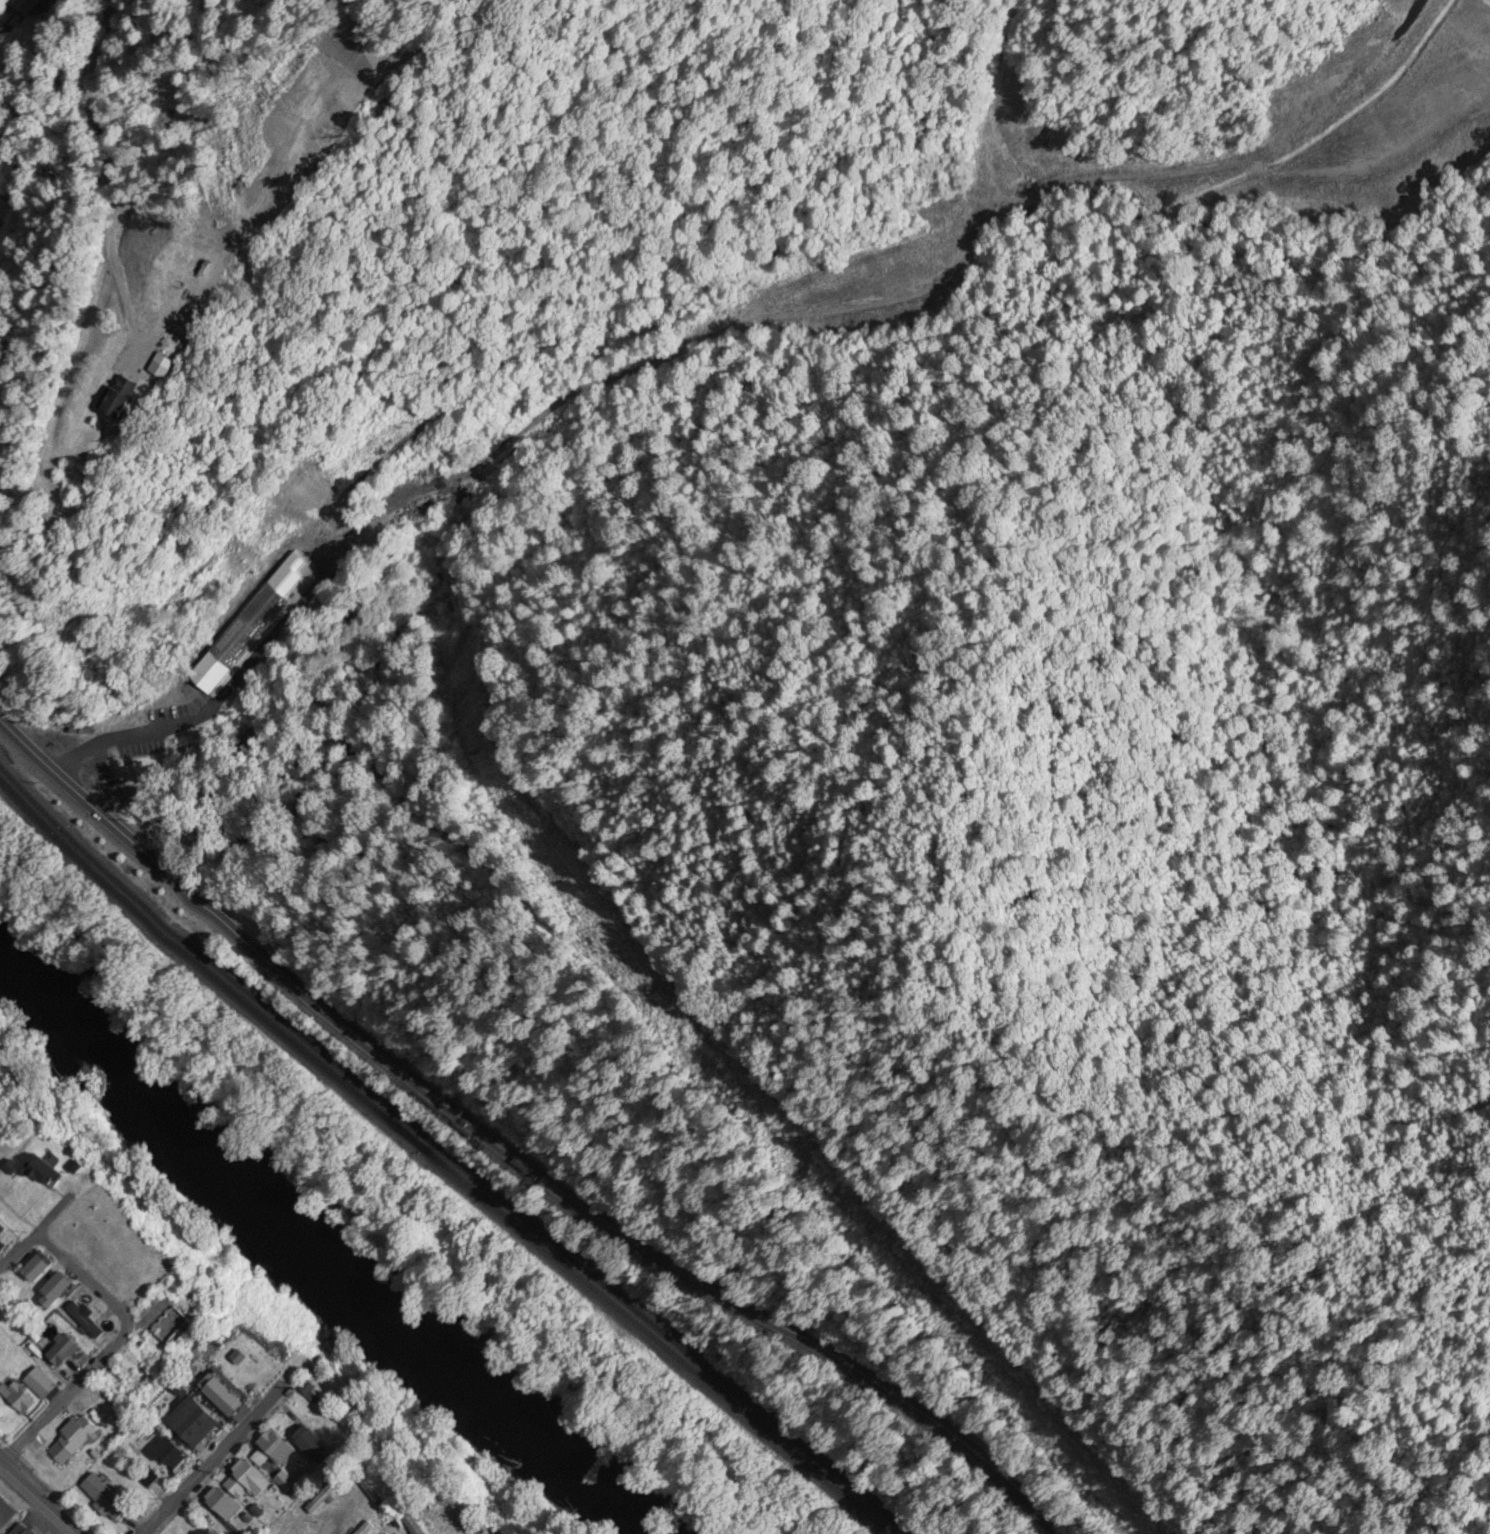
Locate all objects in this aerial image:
building: (25, 6)
road: (160, 195)
road: (240, 261)
road: (67, 348)
building: (126, 399)
road: (118, 730)
road: (23, 747)
building: (141, 770)
railway: (437, 1156)
building: (45, 1173)
road: (539, 1178)
road: (52, 1218)
building: (2, 1231)
road: (19, 1252)
building: (38, 1268)
river: (332, 1270)
building: (56, 1291)
building: (86, 1318)
building: (171, 1329)
building: (64, 1350)
road: (111, 1350)
building: (40, 1385)
building: (224, 1398)
building: (20, 1399)
building: (191, 1428)
building: (78, 1435)
building: (314, 1446)
building: (277, 1448)
building: (171, 1452)
road: (235, 1467)
building: (248, 1482)
building: (288, 1487)
building: (324, 1498)
road: (402, 1498)
road: (37, 1499)
building: (104, 1499)
building: (225, 1504)
building: (6, 1517)
building: (412, 1526)
building: (366, 1529)

